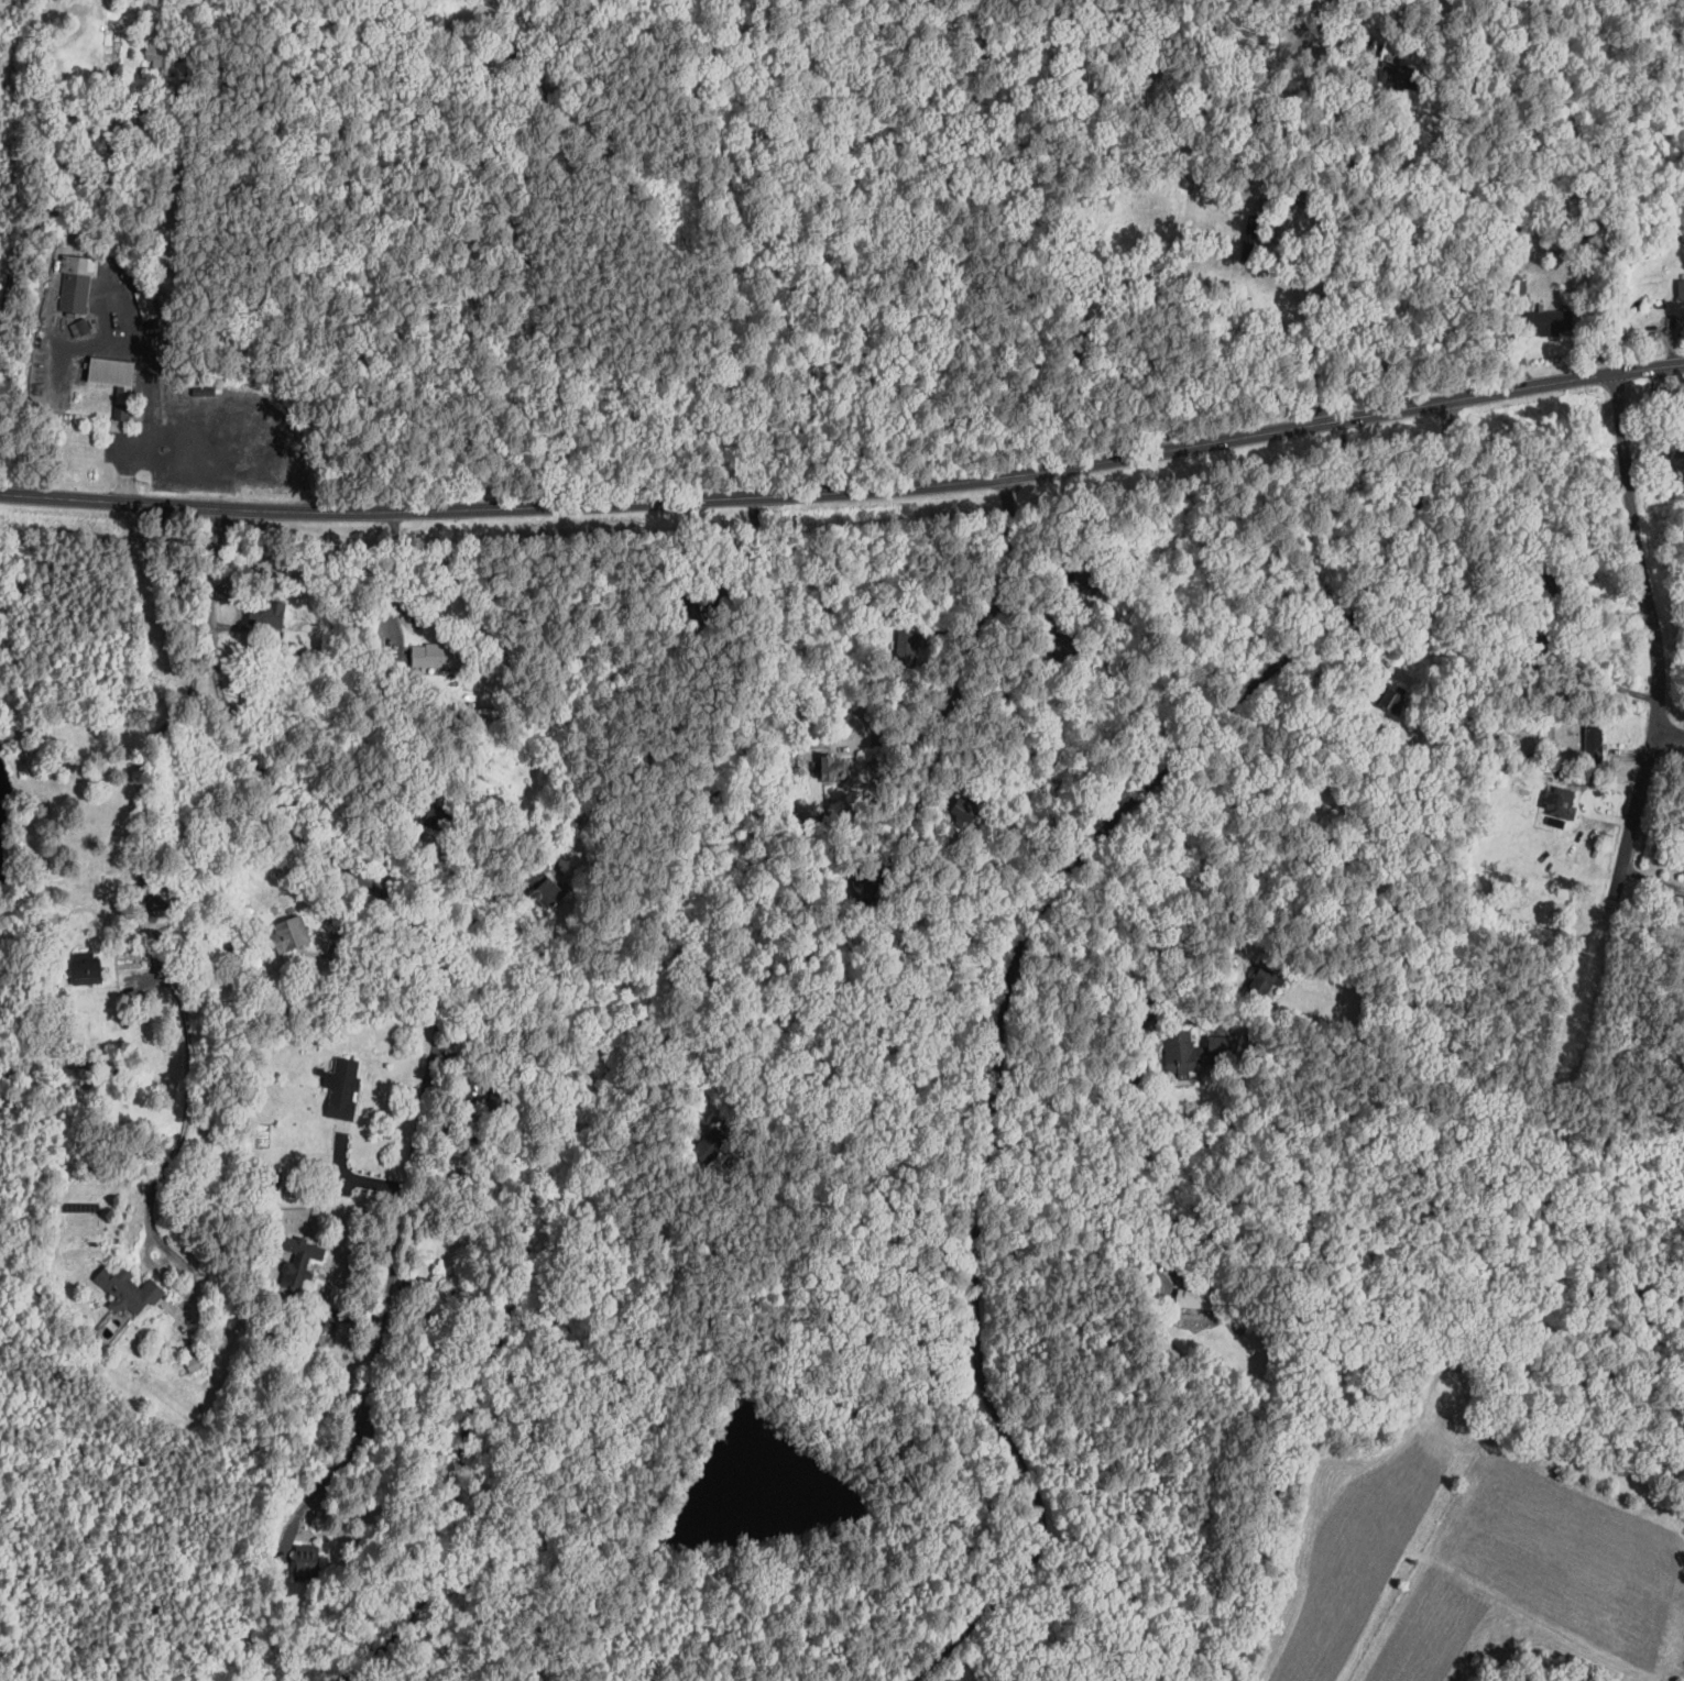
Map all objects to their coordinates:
building: (157, 54)
building: (75, 282)
road: (1335, 282)
road: (10, 286)
building: (1681, 292)
building: (1543, 321)
building: (112, 374)
road: (147, 389)
road: (848, 496)
road: (392, 574)
building: (266, 614)
road: (986, 615)
building: (433, 653)
road: (672, 695)
road: (1650, 725)
road: (1666, 729)
building: (1594, 740)
building: (833, 769)
road: (920, 799)
building: (1559, 801)
building: (547, 893)
building: (170, 894)
building: (248, 911)
road: (133, 912)
road: (415, 934)
building: (289, 935)
building: (230, 946)
building: (85, 967)
building: (1264, 981)
road: (1008, 992)
road: (1146, 1046)
building: (1180, 1051)
building: (343, 1088)
road: (1135, 1246)
building: (300, 1259)
building: (128, 1289)
building: (444, 1310)
building: (195, 1362)
road: (325, 1481)
building: (306, 1561)

